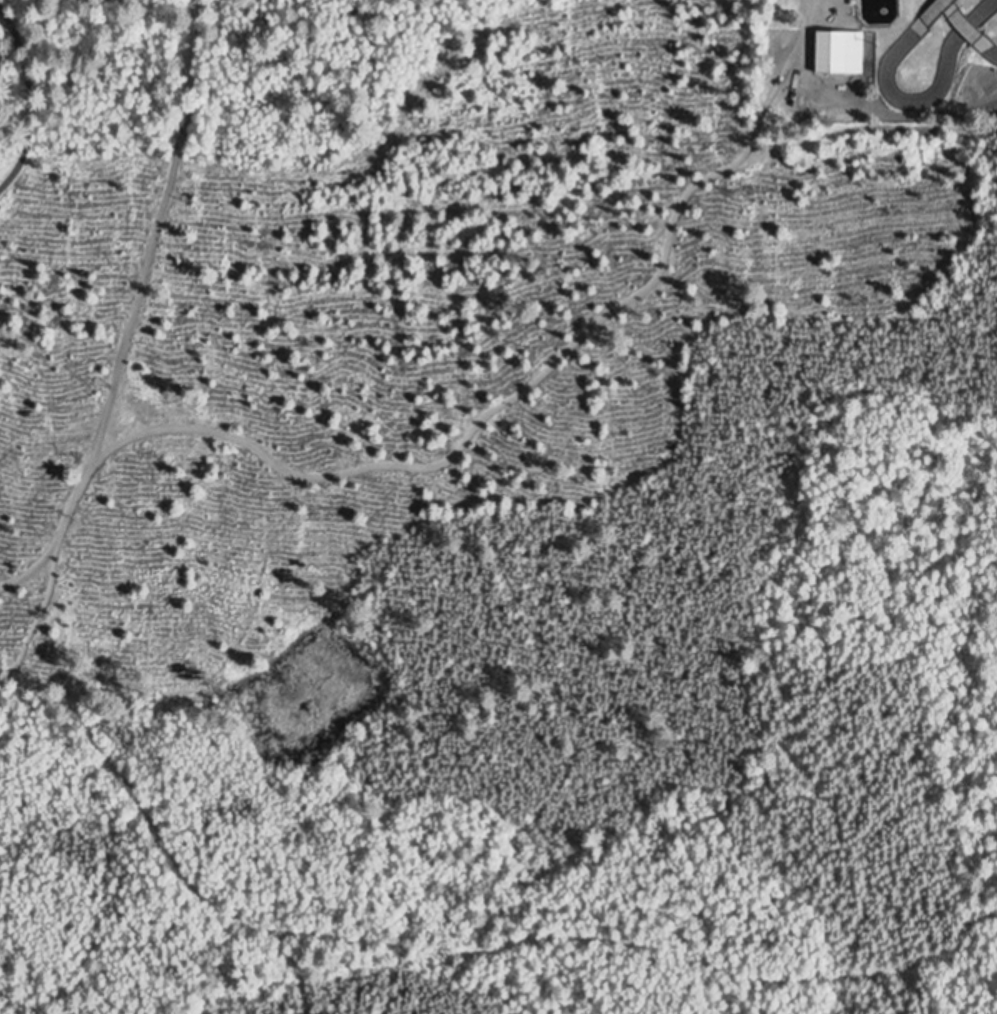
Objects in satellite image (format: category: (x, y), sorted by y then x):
building: (844, 54)
road: (27, 96)

